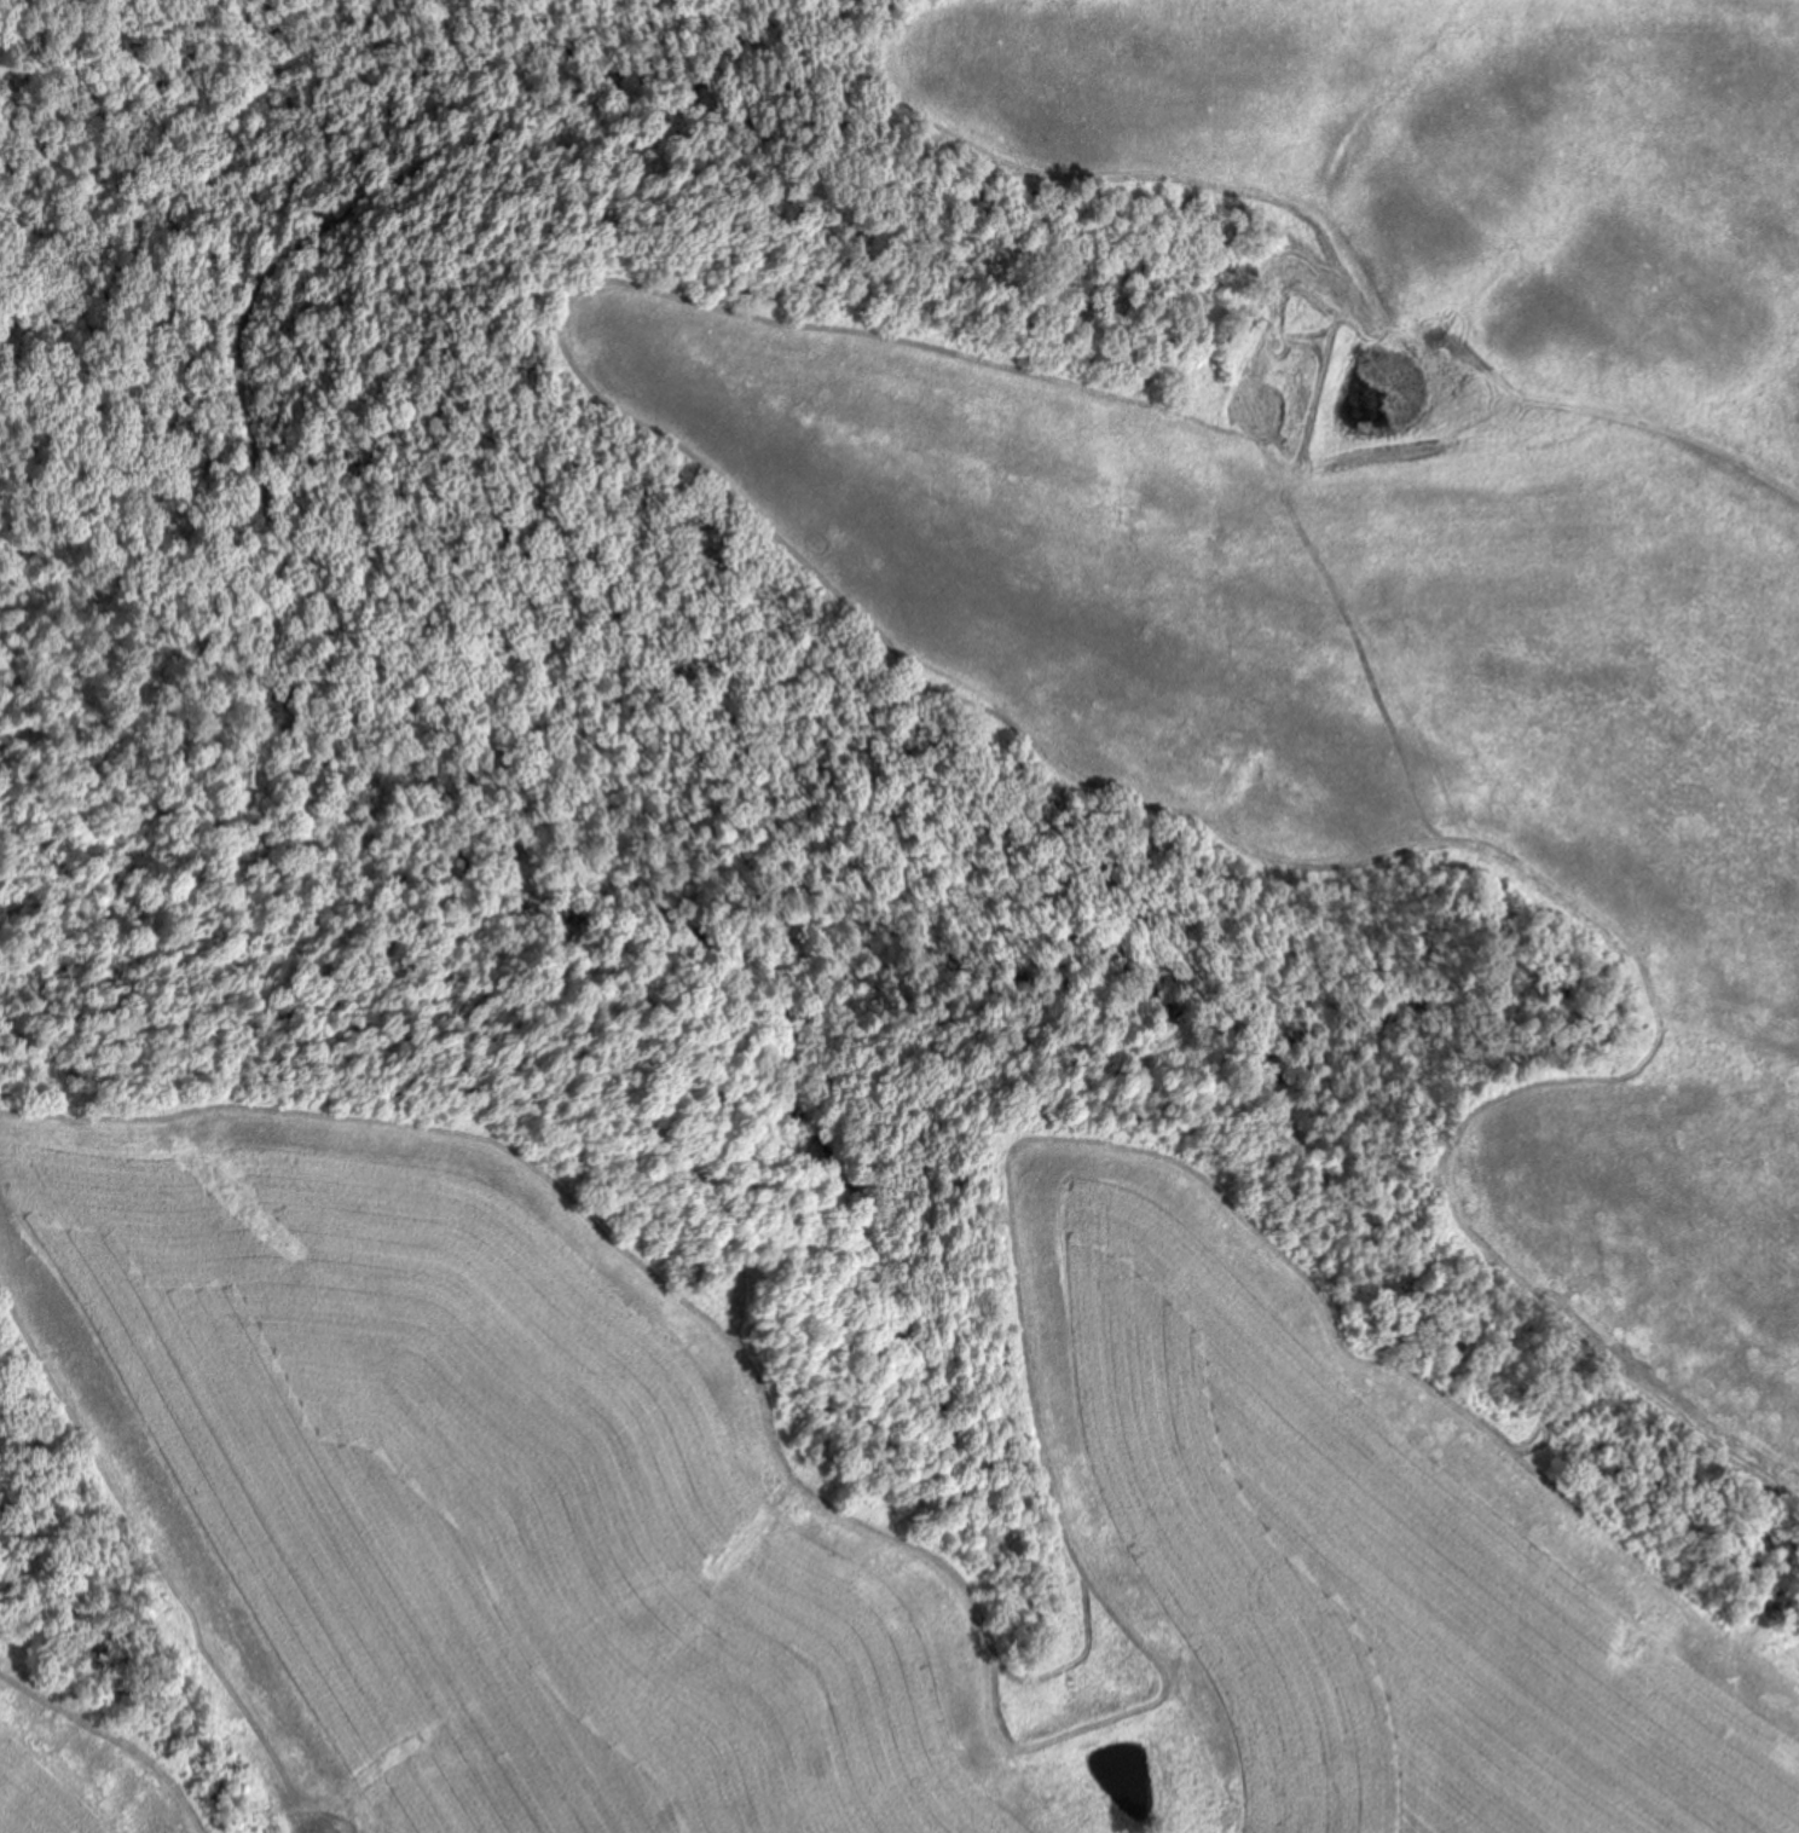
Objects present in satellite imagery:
river: (1105, 1721)

